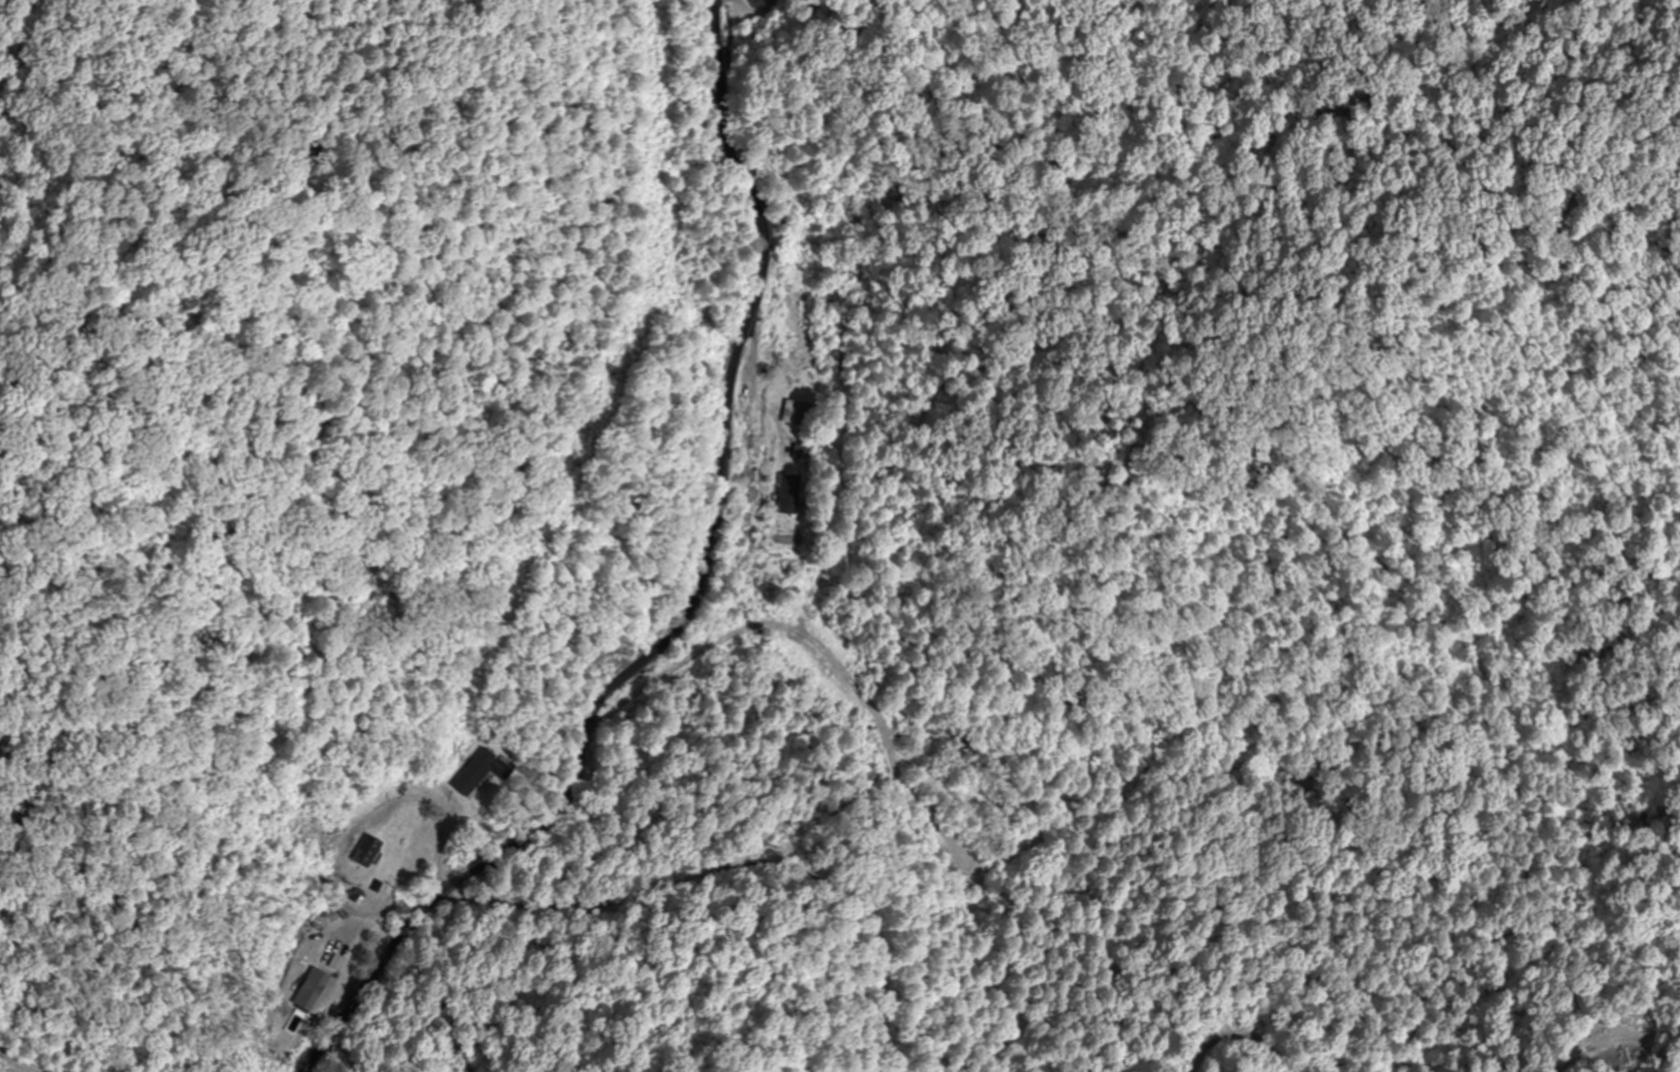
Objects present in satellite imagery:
building: (764, 7)
building: (802, 413)
building: (790, 495)
road: (689, 605)
building: (475, 773)
building: (362, 852)
building: (310, 993)

